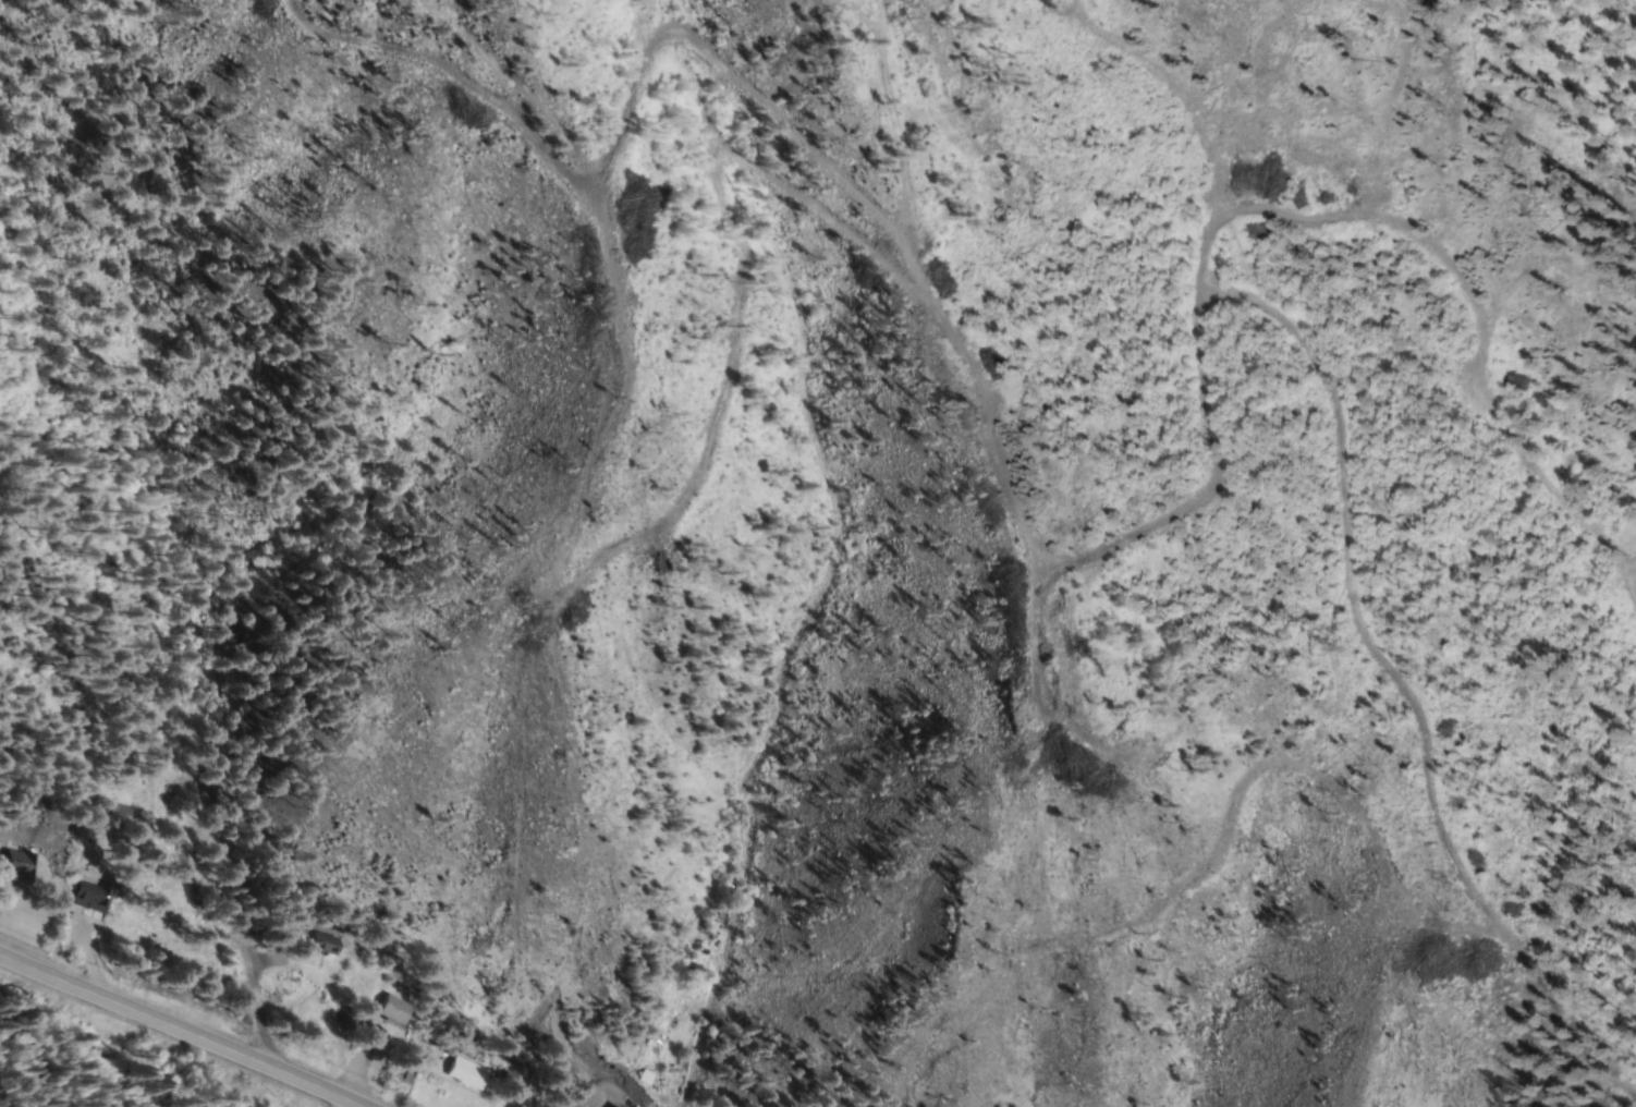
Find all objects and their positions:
building: (212, 793)
building: (121, 812)
building: (20, 865)
building: (94, 893)
building: (327, 945)
building: (395, 1011)
building: (349, 1019)
road: (180, 1031)
building: (468, 1073)
building: (514, 1076)
building: (646, 1078)

